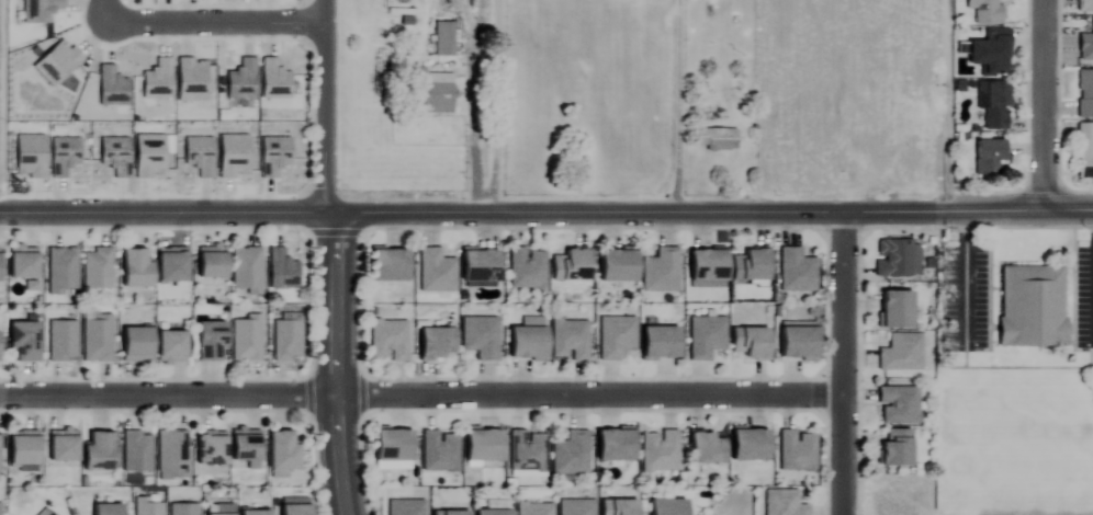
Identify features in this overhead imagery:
building: (1084, 5)
road: (98, 11)
building: (985, 12)
road: (211, 23)
building: (444, 39)
building: (1085, 46)
building: (992, 55)
building: (436, 94)
building: (1084, 94)
building: (994, 104)
road: (496, 107)
road: (667, 107)
road: (1053, 107)
road: (938, 108)
building: (717, 139)
building: (1084, 150)
building: (990, 158)
crop: (0, 171)
road: (331, 216)
road: (878, 220)
road: (335, 256)
building: (25, 263)
building: (214, 263)
building: (174, 266)
building: (391, 266)
building: (572, 266)
building: (620, 266)
building: (710, 266)
building: (752, 266)
building: (1, 267)
building: (482, 267)
building: (527, 268)
building: (98, 270)
building: (138, 270)
building: (63, 272)
building: (246, 272)
building: (436, 272)
building: (661, 272)
building: (797, 272)
road: (964, 281)
building: (1033, 307)
building: (897, 310)
building: (480, 337)
building: (616, 337)
building: (706, 337)
building: (98, 340)
building: (245, 340)
building: (568, 340)
building: (61, 341)
building: (286, 341)
building: (388, 341)
building: (26, 342)
building: (212, 342)
building: (528, 343)
building: (752, 343)
building: (800, 343)
building: (138, 344)
building: (661, 344)
building: (438, 345)
building: (173, 346)
building: (0, 347)
building: (901, 353)
road: (850, 368)
road: (425, 399)
building: (899, 405)
building: (247, 446)
building: (395, 446)
building: (485, 446)
building: (617, 446)
building: (752, 446)
building: (65, 447)
building: (897, 448)
building: (212, 449)
building: (708, 449)
building: (25, 451)
building: (660, 451)
building: (798, 451)
building: (101, 453)
building: (136, 453)
building: (284, 453)
building: (440, 453)
building: (527, 453)
building: (0, 454)
building: (170, 454)
building: (571, 455)
building: (782, 503)
building: (148, 506)
building: (405, 507)
building: (575, 507)
building: (620, 507)
building: (669, 507)
building: (109, 510)
building: (183, 510)
building: (534, 510)
building: (296, 511)
building: (256, 513)
building: (451, 513)
building: (495, 513)

